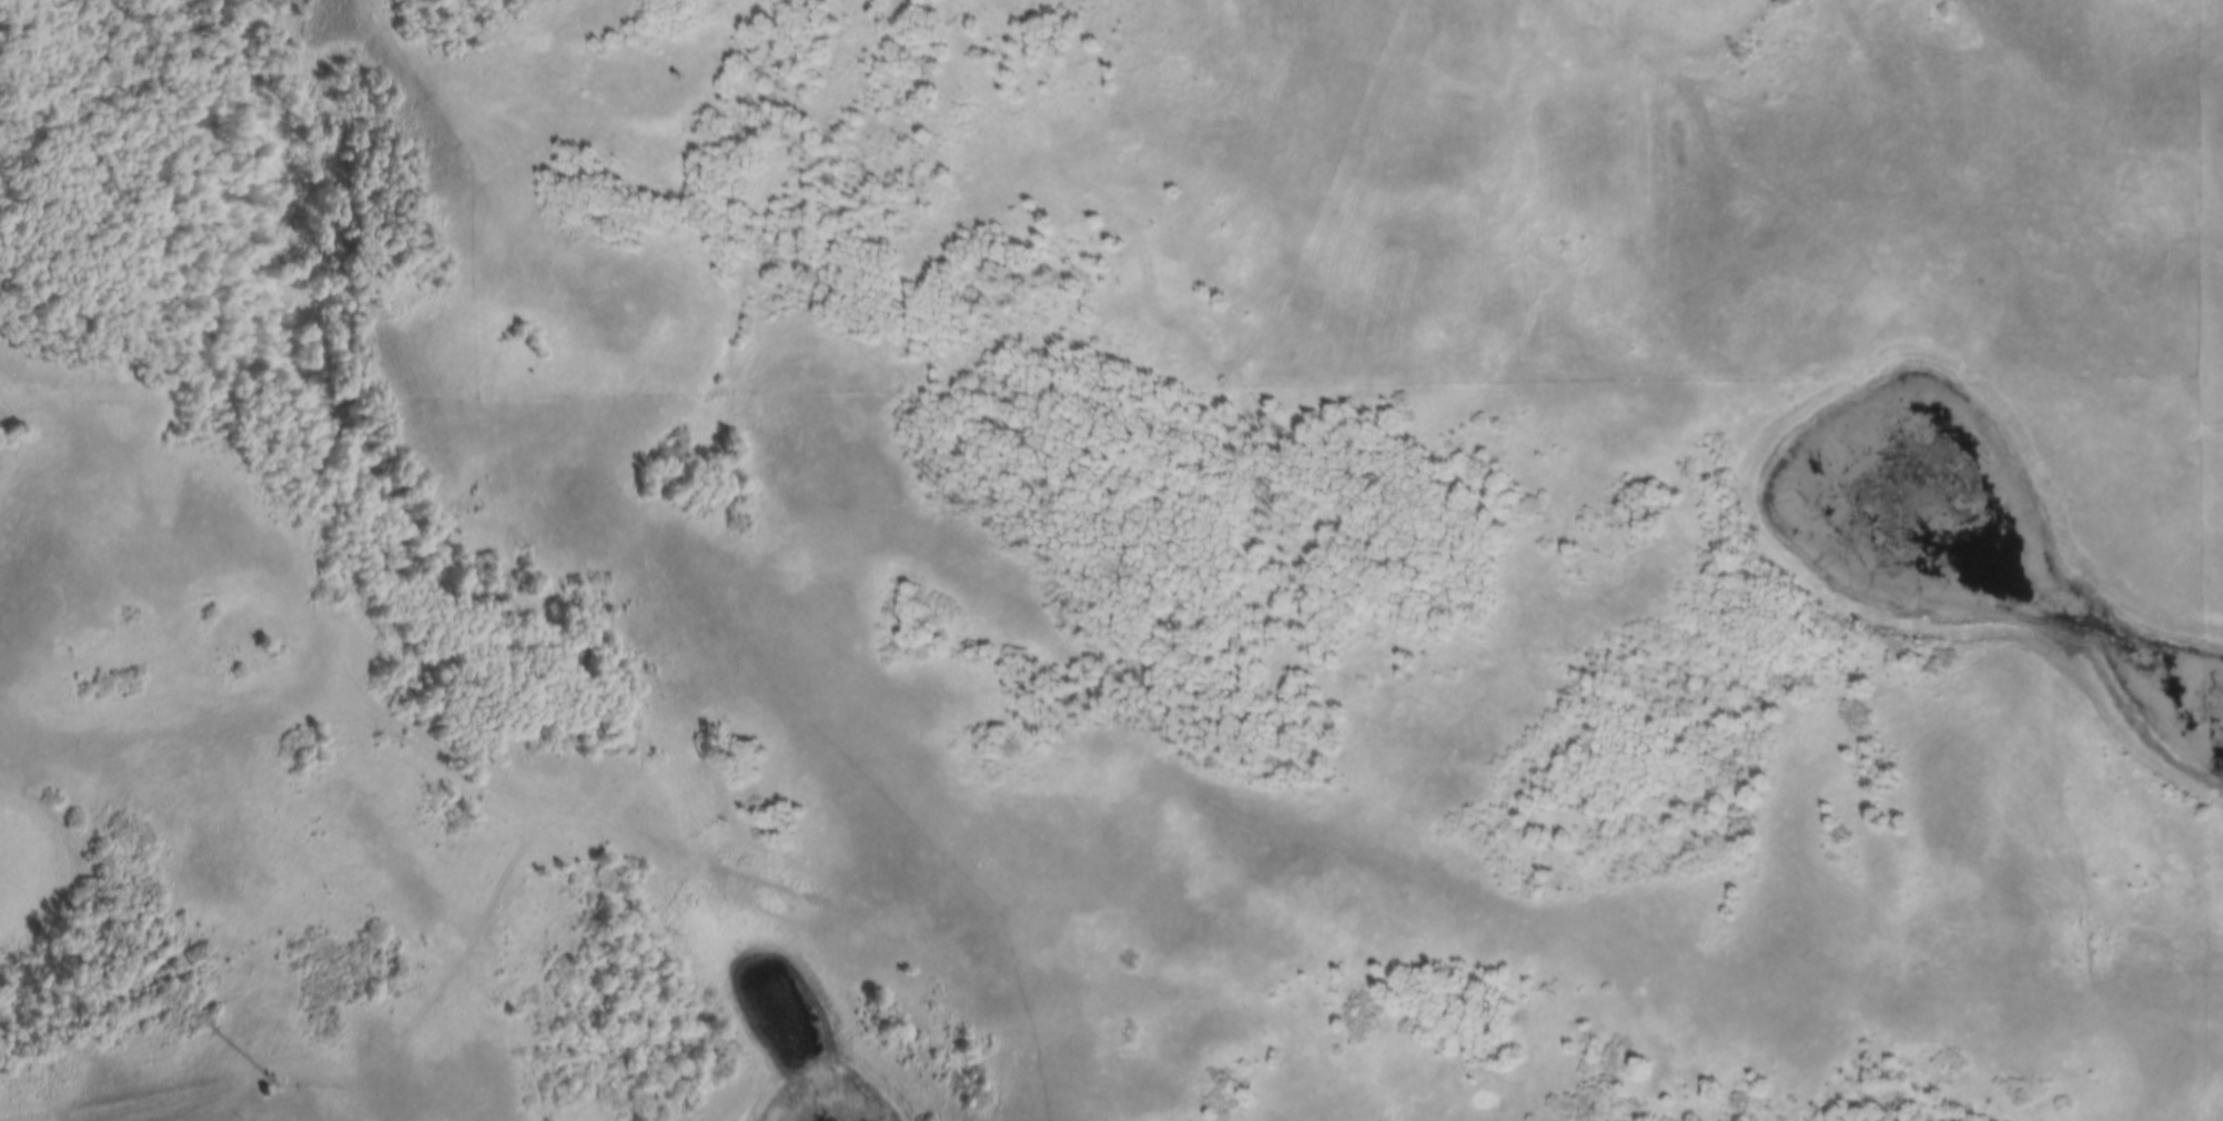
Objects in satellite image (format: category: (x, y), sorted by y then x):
road: (135, 1101)

